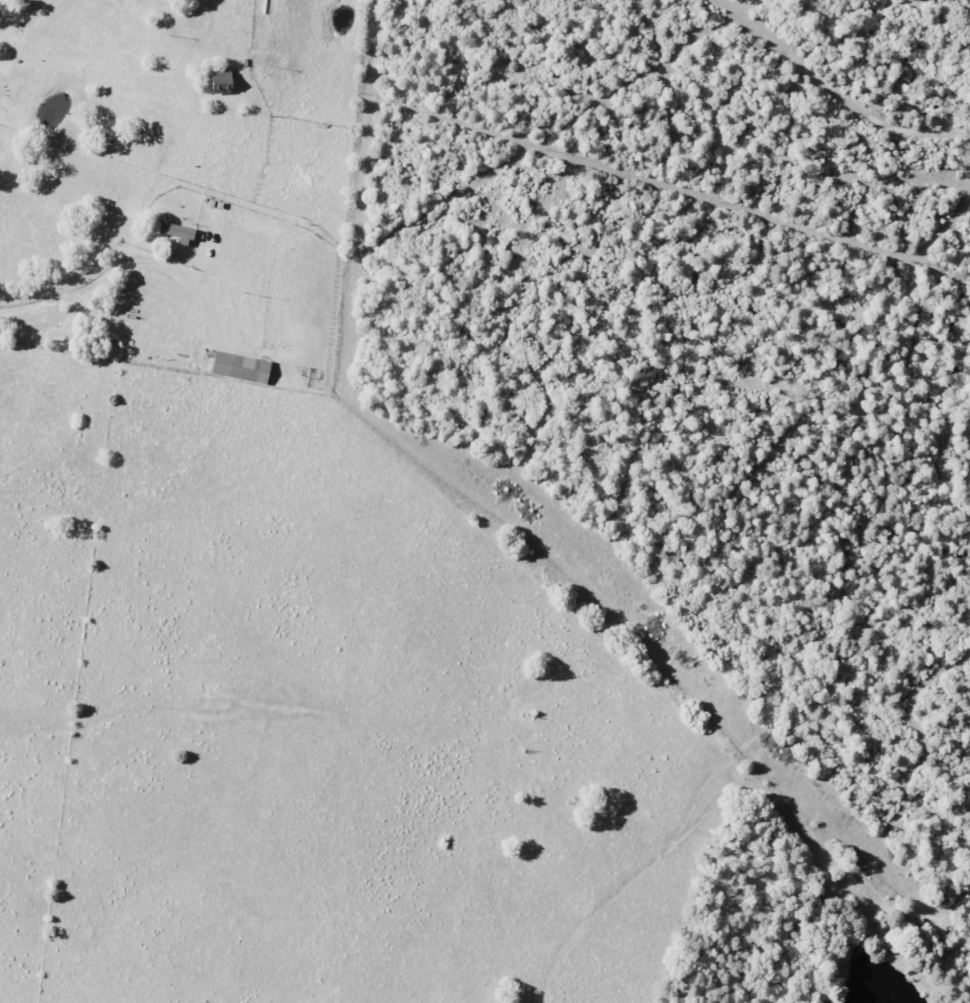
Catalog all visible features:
building: (218, 81)
building: (174, 232)
road: (82, 285)
building: (238, 367)

